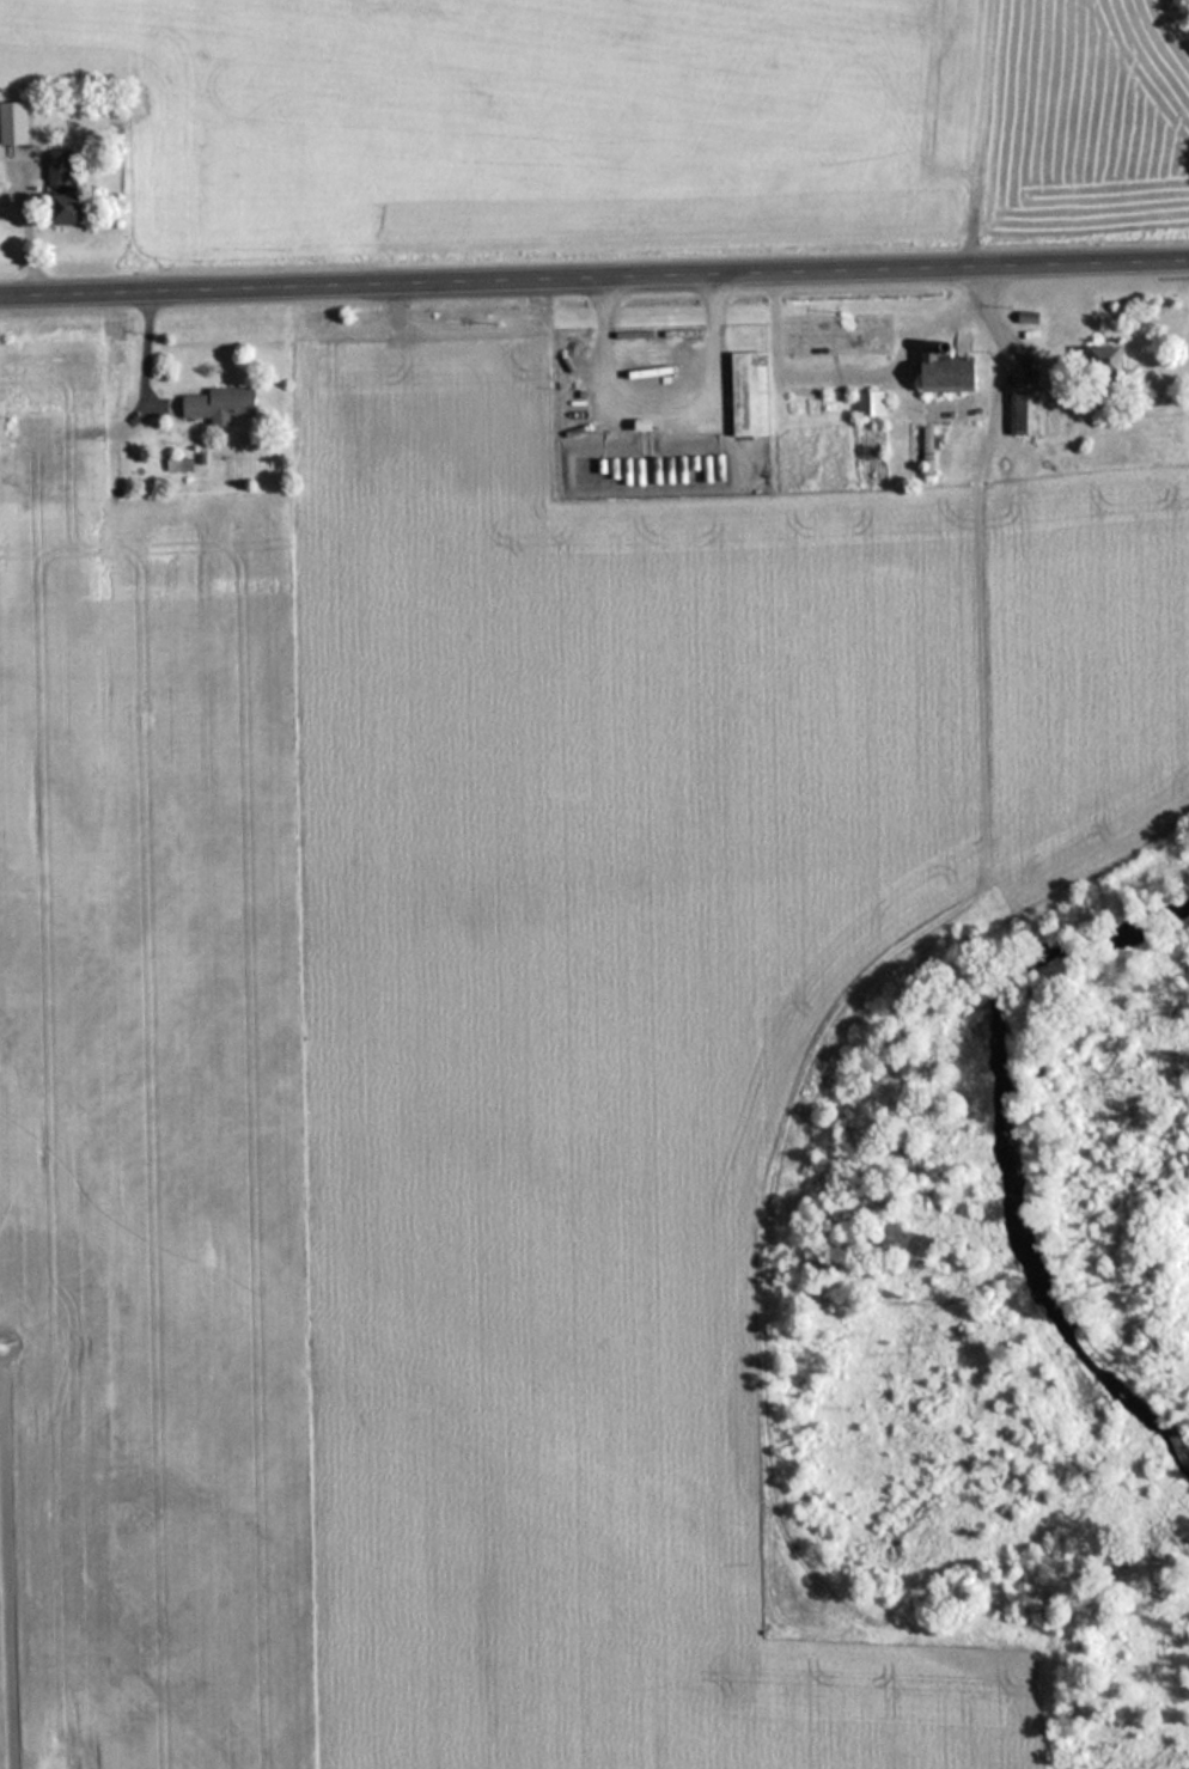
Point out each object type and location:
building: (17, 120)
building: (63, 169)
building: (78, 209)
road: (593, 276)
building: (1098, 360)
building: (939, 376)
building: (744, 394)
building: (866, 403)
building: (215, 404)
building: (1026, 413)
building: (925, 451)
road: (977, 871)
river: (1016, 1175)

